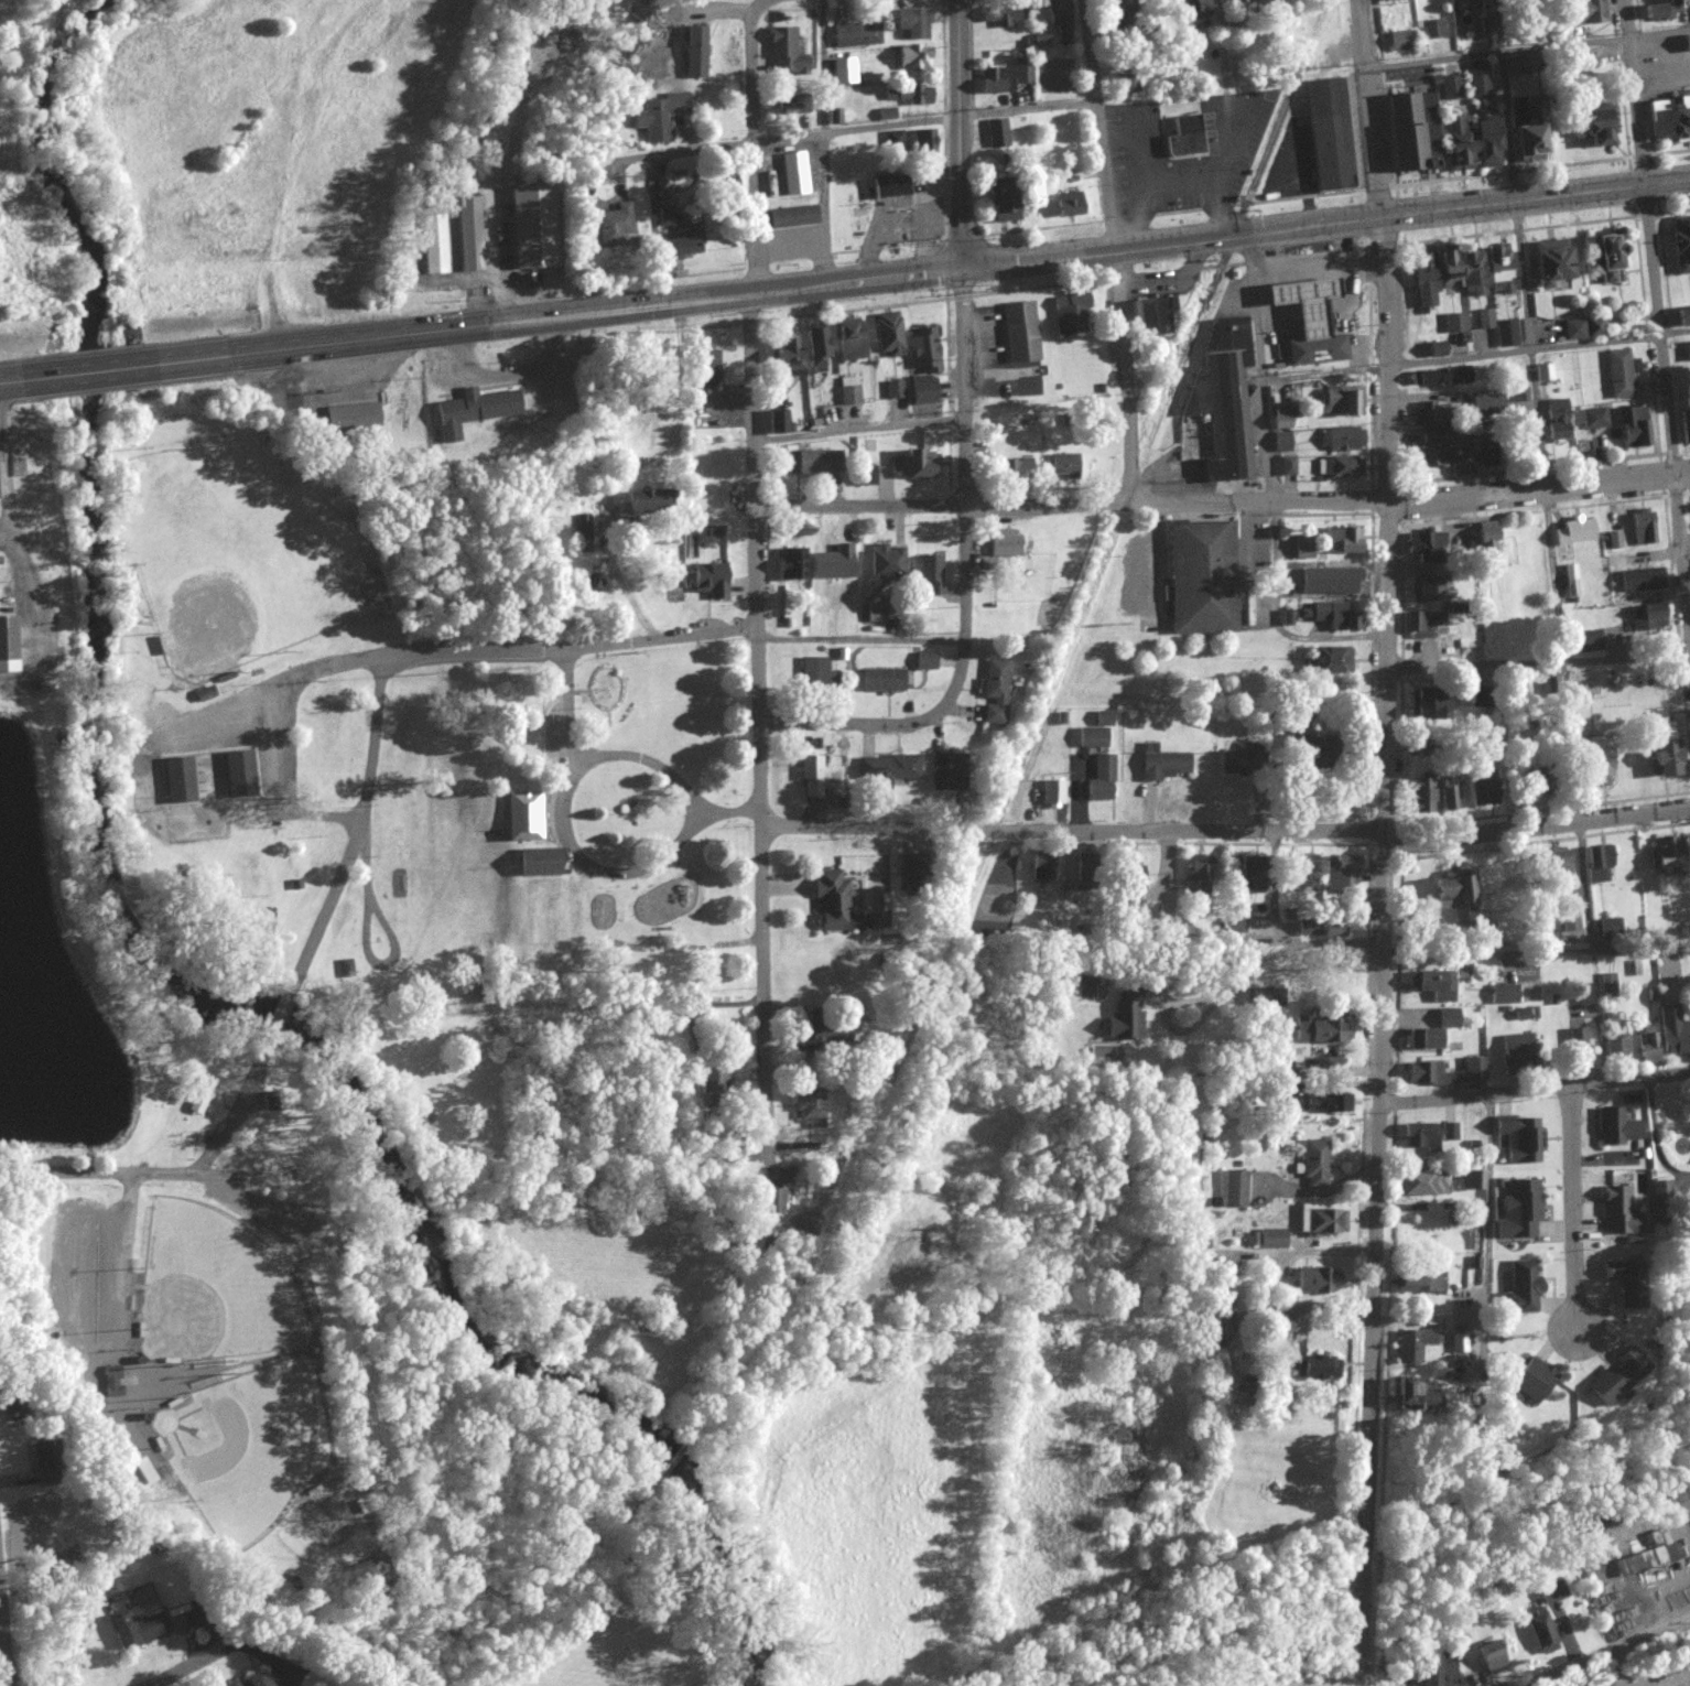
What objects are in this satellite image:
building: (1385, 0)
road: (757, 2)
building: (1239, 3)
building: (1194, 7)
building: (1658, 11)
building: (1581, 13)
building: (998, 14)
building: (1113, 15)
building: (1058, 19)
building: (912, 23)
building: (1432, 29)
building: (854, 35)
building: (1399, 40)
road: (1526, 51)
building: (690, 52)
building: (783, 52)
building: (912, 57)
building: (1514, 66)
building: (843, 72)
building: (1004, 77)
building: (1477, 80)
building: (1125, 83)
building: (1450, 87)
road: (1637, 91)
building: (908, 95)
building: (789, 105)
railway: (1282, 107)
road: (1366, 109)
building: (651, 117)
road: (922, 120)
building: (1669, 120)
road: (1097, 125)
building: (1596, 125)
building: (1527, 129)
building: (1408, 131)
building: (996, 133)
road: (955, 134)
building: (1325, 134)
building: (1182, 137)
road: (822, 141)
building: (919, 142)
building: (1483, 142)
building: (1455, 143)
road: (750, 147)
road: (627, 158)
building: (792, 174)
building: (885, 187)
building: (995, 203)
building: (1066, 205)
building: (792, 216)
building: (608, 226)
building: (530, 227)
building: (470, 234)
building: (667, 235)
road: (1162, 244)
building: (433, 245)
building: (1679, 246)
building: (1545, 262)
building: (1459, 273)
building: (1302, 301)
building: (1068, 315)
building: (1681, 317)
road: (541, 318)
building: (1485, 320)
building: (1454, 323)
building: (1583, 328)
building: (1018, 333)
building: (887, 334)
building: (1506, 334)
building: (848, 341)
road: (303, 346)
building: (1313, 347)
road: (1538, 348)
building: (1434, 349)
building: (814, 350)
building: (922, 352)
building: (787, 358)
building: (705, 367)
road: (93, 371)
road: (1324, 372)
building: (1547, 372)
building: (1619, 374)
road: (1125, 376)
building: (1438, 377)
road: (12, 380)
building: (892, 389)
building: (919, 390)
building: (848, 391)
building: (1518, 396)
building: (1221, 399)
building: (1340, 401)
building: (1484, 403)
road: (1668, 403)
building: (474, 411)
building: (1426, 413)
building: (350, 417)
building: (1593, 419)
building: (1279, 420)
building: (1556, 420)
building: (774, 423)
building: (1629, 425)
building: (1684, 426)
road: (856, 428)
building: (1342, 439)
building: (1280, 442)
building: (1440, 444)
building: (810, 463)
building: (1062, 464)
building: (913, 465)
building: (1286, 466)
building: (1340, 467)
road: (627, 468)
building: (1009, 468)
building: (864, 476)
road: (6, 482)
road: (1269, 487)
building: (639, 502)
road: (1222, 502)
building: (1643, 527)
building: (1574, 532)
building: (582, 533)
building: (1484, 539)
building: (1614, 540)
building: (1341, 541)
building: (999, 542)
road: (1548, 542)
building: (1423, 543)
building: (1301, 547)
park: (239, 558)
building: (884, 562)
building: (831, 563)
building: (789, 565)
building: (929, 574)
building: (1198, 579)
building: (709, 581)
building: (1571, 581)
building: (1638, 581)
road: (963, 584)
building: (1424, 590)
road: (33, 613)
building: (875, 613)
building: (1646, 617)
building: (1287, 618)
building: (1339, 622)
building: (1421, 624)
road: (858, 640)
building: (1585, 641)
building: (9, 645)
road: (511, 651)
building: (1328, 660)
building: (922, 661)
road: (1538, 664)
building: (817, 676)
building: (879, 681)
building: (1551, 684)
building: (992, 692)
building: (1476, 696)
building: (1426, 702)
road: (759, 727)
building: (1094, 732)
building: (1660, 750)
road: (616, 757)
building: (1239, 760)
building: (1591, 763)
building: (1161, 764)
building: (1389, 765)
building: (838, 770)
building: (885, 771)
building: (943, 772)
building: (237, 775)
building: (810, 777)
building: (176, 780)
building: (1097, 781)
building: (1478, 788)
road: (275, 791)
building: (1051, 793)
building: (1418, 796)
building: (1447, 798)
building: (520, 817)
road: (1227, 832)
building: (1664, 856)
railway: (978, 858)
building: (535, 863)
building: (1596, 864)
building: (1040, 868)
building: (1553, 869)
building: (1298, 872)
road: (603, 874)
building: (1196, 874)
building: (1128, 877)
building: (1447, 895)
building: (836, 905)
building: (1569, 922)
building: (1235, 926)
road: (318, 929)
building: (1331, 931)
road: (1282, 933)
building: (1480, 933)
road: (1380, 951)
road: (1535, 953)
building: (1339, 960)
building: (1433, 985)
road: (1229, 988)
building: (1503, 994)
building: (1269, 996)
building: (1125, 1015)
building: (1448, 1017)
building: (1322, 1027)
building: (1671, 1030)
building: (827, 1031)
building: (1423, 1037)
building: (1648, 1044)
building: (1615, 1046)
building: (1577, 1047)
building: (1514, 1049)
building: (1422, 1066)
building: (712, 1073)
road: (1534, 1091)
building: (1280, 1092)
building: (1326, 1101)
building: (808, 1105)
building: (1614, 1126)
building: (1417, 1134)
building: (1447, 1135)
road: (1655, 1137)
building: (1519, 1138)
building: (737, 1154)
building: (1314, 1163)
road: (95, 1171)
building: (1473, 1179)
building: (1422, 1182)
building: (1233, 1188)
road: (1489, 1188)
building: (773, 1200)
road: (1573, 1208)
building: (1519, 1209)
building: (1618, 1210)
building: (1319, 1220)
building: (1266, 1239)
building: (1317, 1279)
building: (1622, 1280)
building: (1418, 1283)
park: (210, 1286)
building: (1521, 1286)
building: (1413, 1343)
building: (1458, 1343)
building: (1317, 1366)
building: (1614, 1377)
building: (1530, 1379)
building: (111, 1381)
building: (1408, 1396)
park: (241, 1446)
railway: (676, 1456)
building: (144, 1472)
building: (1648, 1559)
building: (1551, 1591)
building: (136, 1629)
building: (1541, 1631)
road: (4, 1640)
road: (1608, 1652)
building: (1489, 1657)
road: (1614, 1668)
road: (185, 1669)
building: (1437, 1669)
road: (1676, 1680)

